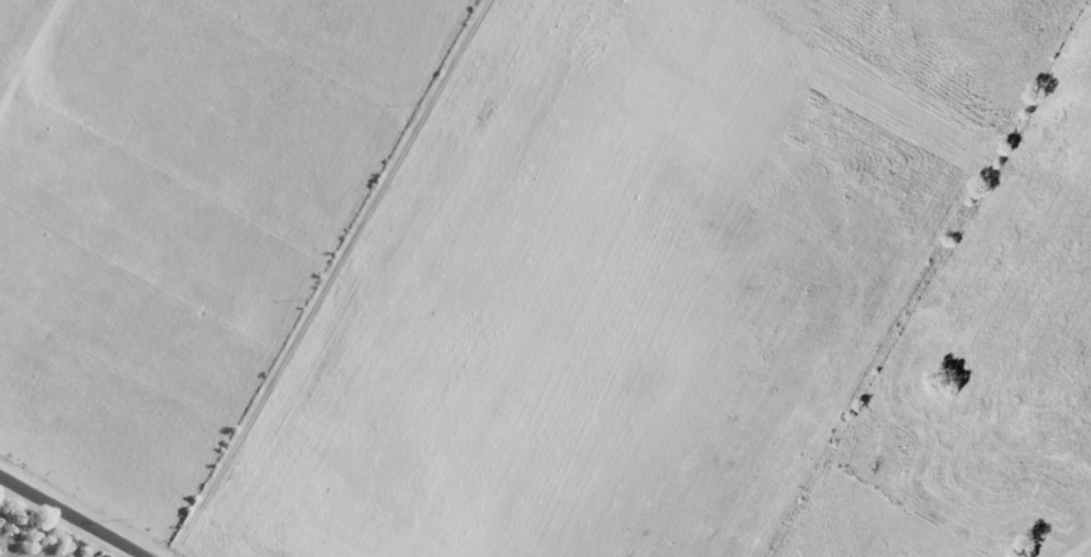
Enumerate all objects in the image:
road: (32, 56)
road: (333, 278)
road: (71, 517)

